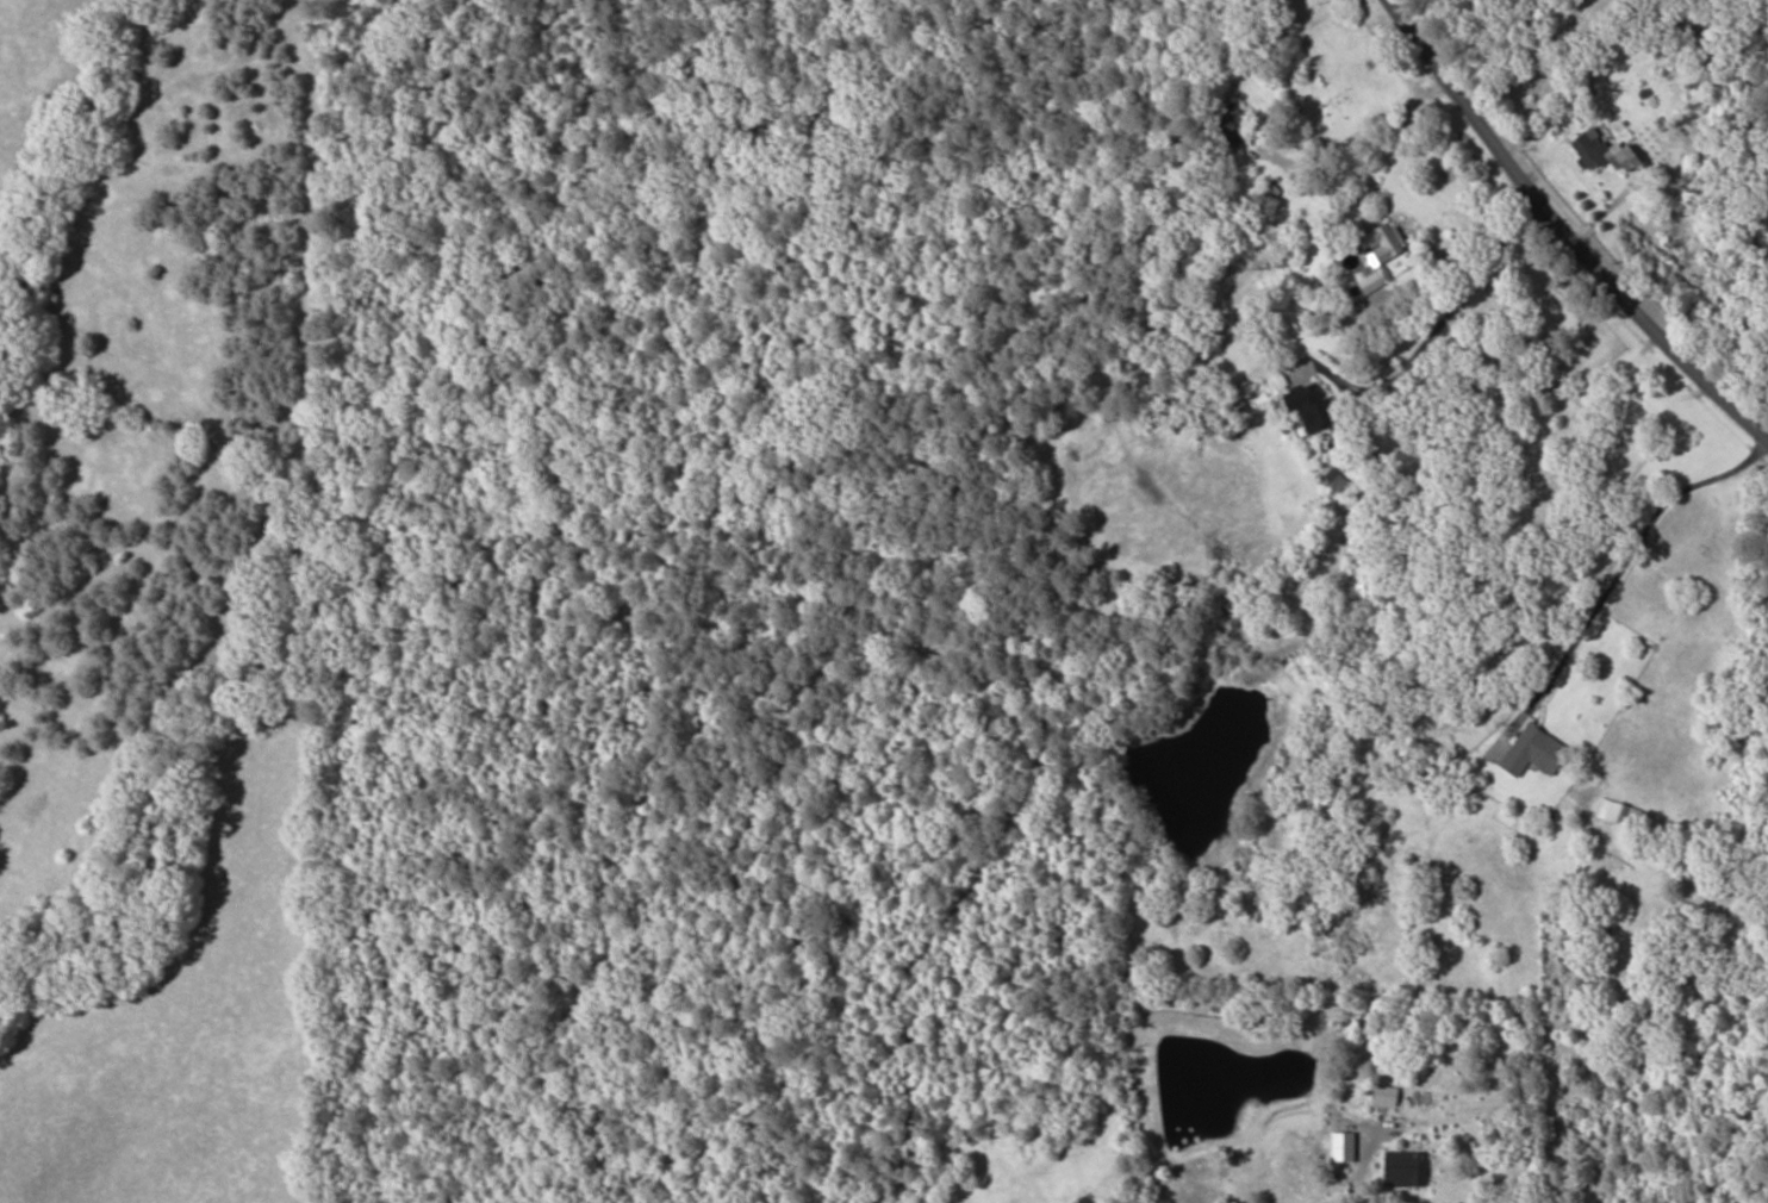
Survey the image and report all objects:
building: (1707, 18)
building: (1231, 127)
building: (1602, 151)
building: (1265, 197)
road: (1590, 197)
building: (1382, 254)
building: (1311, 407)
road: (1621, 475)
building: (1533, 750)
building: (1616, 812)
road: (67, 948)

